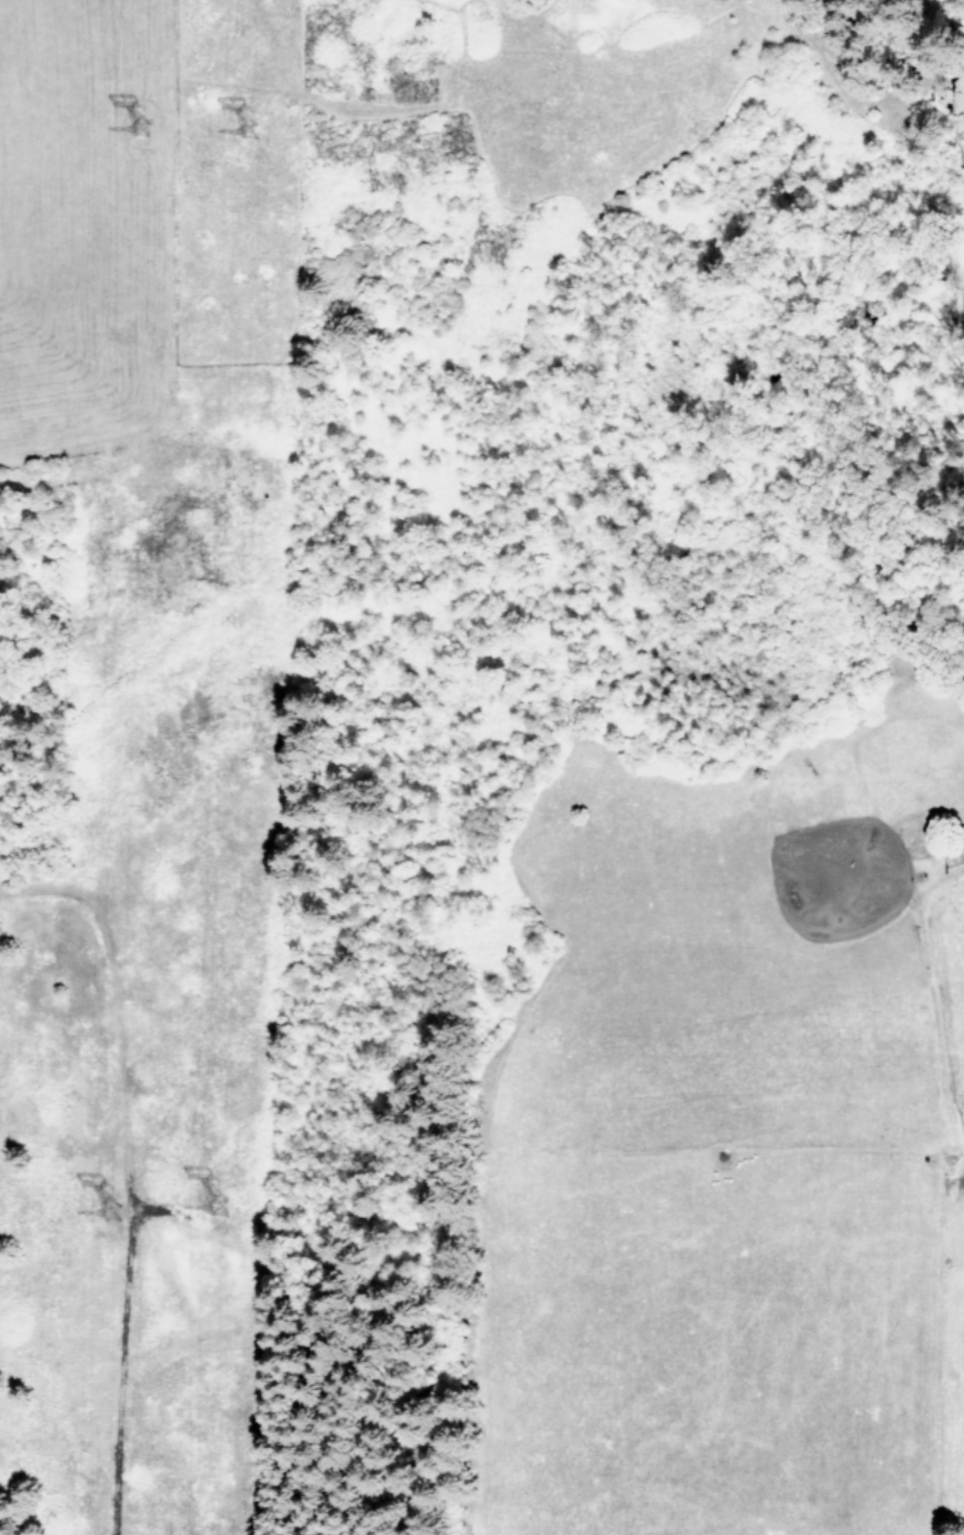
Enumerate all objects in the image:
power tower: (145, 139)
power tower: (259, 140)
power tower: (223, 1220)
power tower: (119, 1230)

